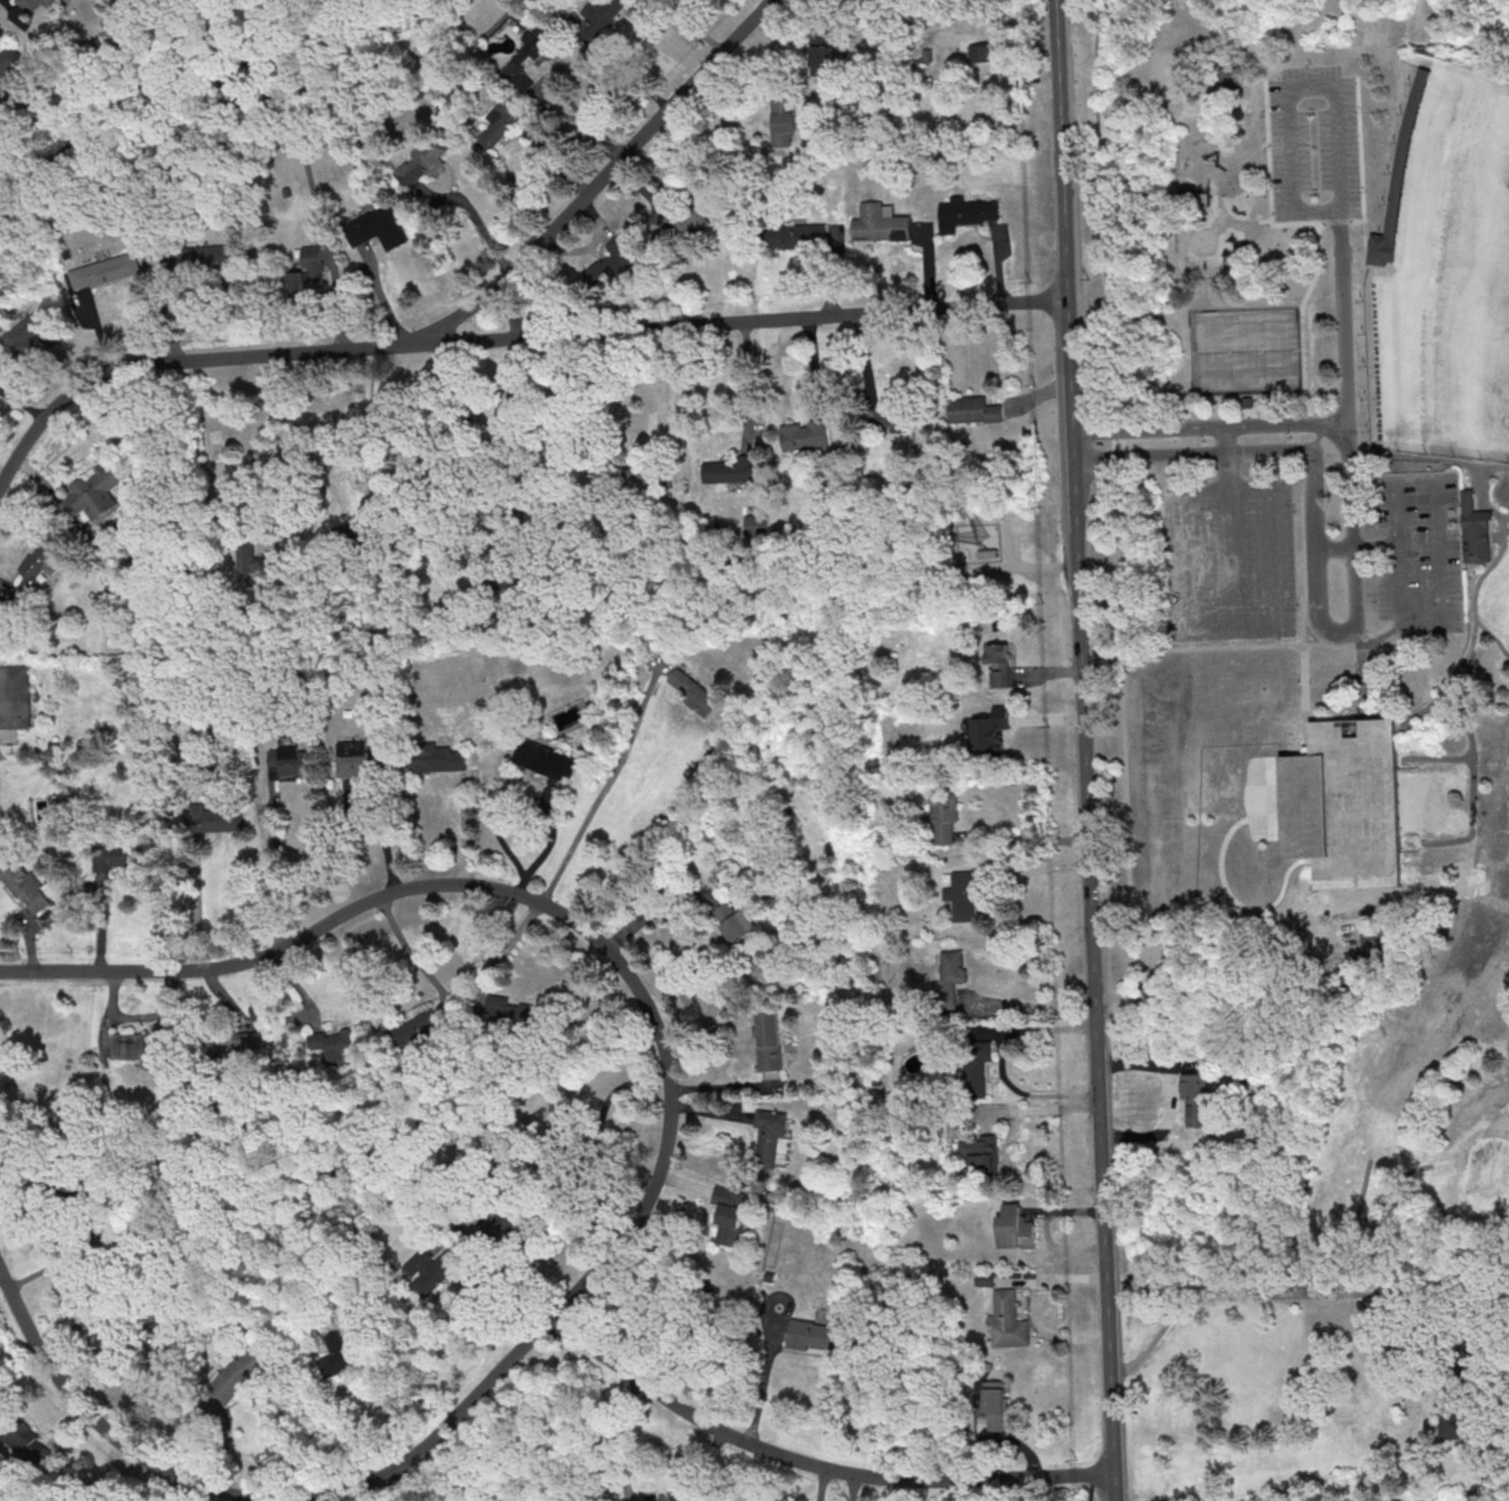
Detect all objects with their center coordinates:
building: (31, 8)
building: (601, 17)
building: (986, 52)
building: (523, 57)
building: (822, 57)
building: (10, 66)
park: (1166, 78)
building: (1228, 83)
road: (1335, 85)
building: (941, 115)
road: (573, 118)
building: (784, 121)
building: (500, 125)
parking lot: (1313, 145)
building: (1405, 152)
building: (422, 162)
road: (607, 172)
road: (1361, 184)
road: (1269, 185)
road: (1219, 192)
building: (966, 213)
building: (693, 216)
road: (1215, 220)
building: (880, 224)
building: (376, 228)
road: (1223, 228)
road: (1212, 231)
road: (1257, 235)
building: (797, 236)
building: (1382, 250)
building: (202, 257)
building: (613, 263)
park: (1442, 264)
building: (106, 271)
building: (308, 272)
road: (1343, 317)
road: (1302, 323)
building: (34, 332)
road: (506, 338)
park: (1244, 352)
road: (750, 384)
road: (681, 397)
road: (372, 409)
building: (974, 410)
building: (889, 419)
building: (805, 435)
road: (250, 449)
road: (1227, 458)
building: (727, 471)
road: (497, 473)
building: (641, 478)
road: (1226, 488)
building: (96, 491)
road: (1076, 500)
road: (1503, 515)
park: (1260, 527)
road: (1505, 530)
building: (355, 534)
building: (1476, 541)
road: (1355, 548)
parking lot: (1417, 552)
road: (1499, 555)
building: (257, 559)
road: (1272, 559)
parking lot: (1230, 560)
building: (40, 561)
road: (1229, 561)
road: (1303, 572)
road: (1356, 606)
road: (1187, 607)
road: (1441, 624)
road: (1380, 636)
road: (1277, 643)
road: (1232, 645)
road: (1190, 647)
road: (1259, 647)
building: (998, 664)
road: (1361, 673)
road: (1449, 683)
road: (1305, 686)
building: (692, 691)
building: (15, 697)
building: (991, 731)
building: (438, 758)
building: (545, 759)
road: (1435, 759)
building: (290, 760)
building: (359, 760)
road: (601, 788)
building: (1345, 804)
building: (944, 816)
building: (214, 819)
road: (380, 829)
road: (466, 831)
road: (1029, 840)
road: (1436, 843)
road: (548, 849)
building: (117, 855)
road: (278, 864)
road: (1036, 871)
building: (26, 888)
road: (510, 889)
building: (962, 895)
road: (1384, 907)
road: (197, 916)
building: (738, 925)
building: (1375, 945)
road: (409, 951)
building: (952, 971)
road: (1037, 1007)
building: (516, 1012)
building: (418, 1033)
building: (769, 1040)
building: (231, 1044)
building: (139, 1045)
building: (333, 1046)
building: (976, 1067)
building: (1195, 1100)
building: (561, 1124)
building: (768, 1138)
building: (980, 1152)
park: (1353, 1205)
building: (730, 1214)
road: (1374, 1214)
building: (499, 1225)
building: (1015, 1228)
road: (1105, 1250)
building: (432, 1269)
road: (2, 1274)
road: (1261, 1295)
building: (1004, 1320)
building: (818, 1335)
road: (159, 1343)
building: (339, 1355)
building: (241, 1371)
road: (760, 1390)
building: (995, 1406)
building: (1460, 1421)
road: (624, 1435)
building: (25, 1440)
road: (711, 1462)
road: (817, 1465)
road: (101, 1470)
road: (148, 1482)
road: (399, 1483)
road: (822, 1484)
road: (852, 1487)
road: (185, 1489)
road: (212, 1493)
road: (359, 1494)
road: (259, 1495)
building: (638, 1495)

